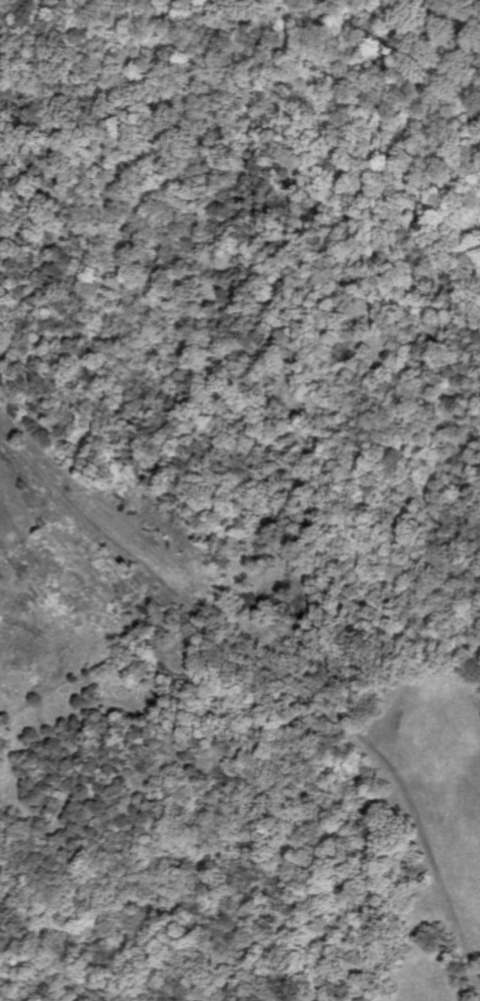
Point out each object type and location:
road: (279, 668)

